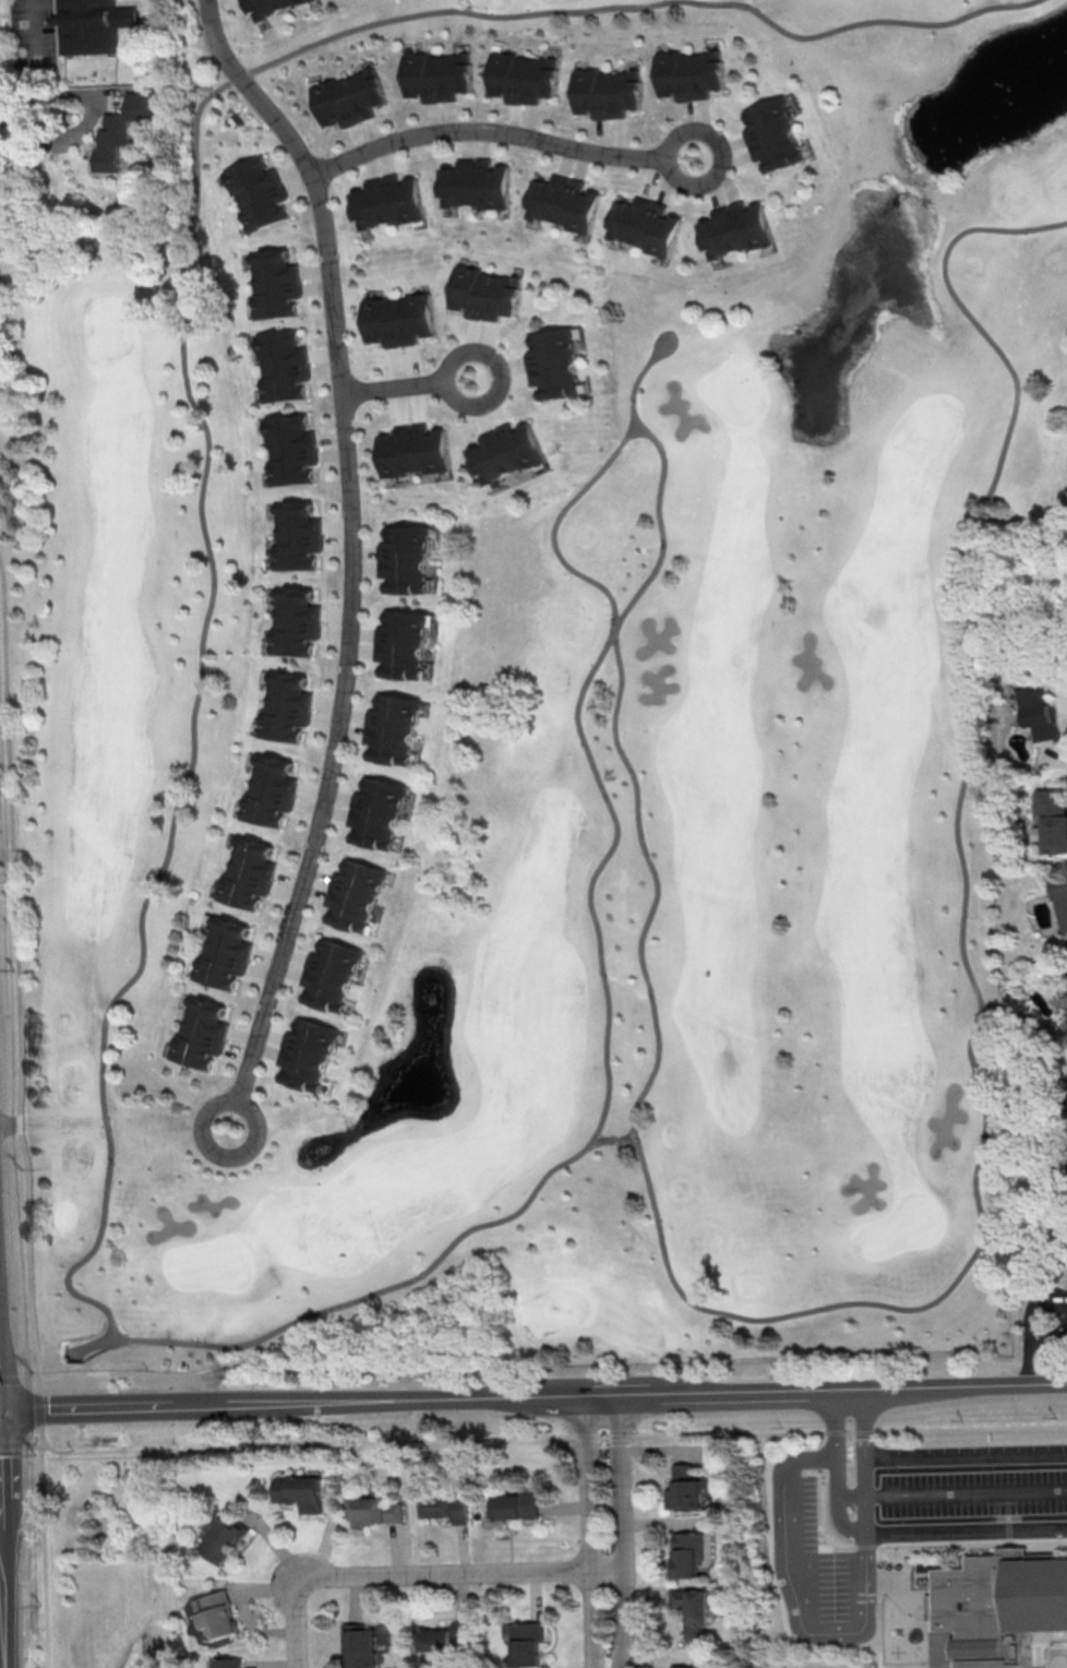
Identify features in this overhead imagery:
building: (267, 7)
building: (92, 24)
road: (41, 55)
building: (436, 73)
building: (691, 73)
building: (523, 74)
building: (607, 91)
building: (349, 97)
road: (89, 118)
building: (122, 123)
road: (489, 129)
building: (776, 131)
road: (673, 156)
building: (473, 181)
building: (257, 189)
building: (564, 200)
building: (386, 201)
building: (645, 224)
building: (735, 229)
building: (274, 284)
building: (487, 291)
building: (399, 319)
road: (180, 339)
building: (554, 361)
building: (283, 364)
road: (637, 377)
road: (398, 385)
road: (455, 389)
building: (293, 448)
building: (415, 450)
building: (503, 451)
building: (297, 534)
road: (351, 543)
building: (407, 557)
building: (296, 620)
building: (405, 644)
building: (286, 707)
building: (1038, 711)
building: (394, 726)
park: (575, 776)
building: (271, 790)
building: (377, 808)
building: (1053, 820)
building: (249, 873)
building: (356, 891)
building: (1060, 898)
road: (592, 908)
building: (226, 952)
building: (332, 969)
road: (16, 973)
building: (200, 1030)
building: (308, 1051)
road: (207, 1133)
road: (614, 1137)
road: (975, 1177)
road: (1028, 1335)
road: (521, 1370)
road: (10, 1378)
road: (615, 1395)
road: (82, 1407)
road: (38, 1408)
road: (553, 1435)
road: (11, 1444)
road: (33, 1444)
road: (967, 1459)
building: (684, 1488)
building: (301, 1493)
road: (1, 1500)
building: (518, 1504)
parking lot: (923, 1509)
building: (447, 1510)
building: (376, 1513)
road: (591, 1532)
road: (626, 1532)
road: (885, 1536)
building: (227, 1539)
road: (43, 1545)
road: (823, 1547)
road: (916, 1550)
road: (1015, 1550)
building: (690, 1552)
road: (1044, 1554)
park: (109, 1561)
building: (913, 1568)
building: (927, 1572)
road: (422, 1573)
road: (779, 1584)
road: (4, 1598)
road: (904, 1598)
building: (692, 1609)
building: (1002, 1609)
building: (220, 1617)
road: (850, 1636)
building: (447, 1637)
building: (527, 1643)
building: (363, 1645)
road: (1050, 1651)
building: (231, 1664)
building: (680, 1667)

